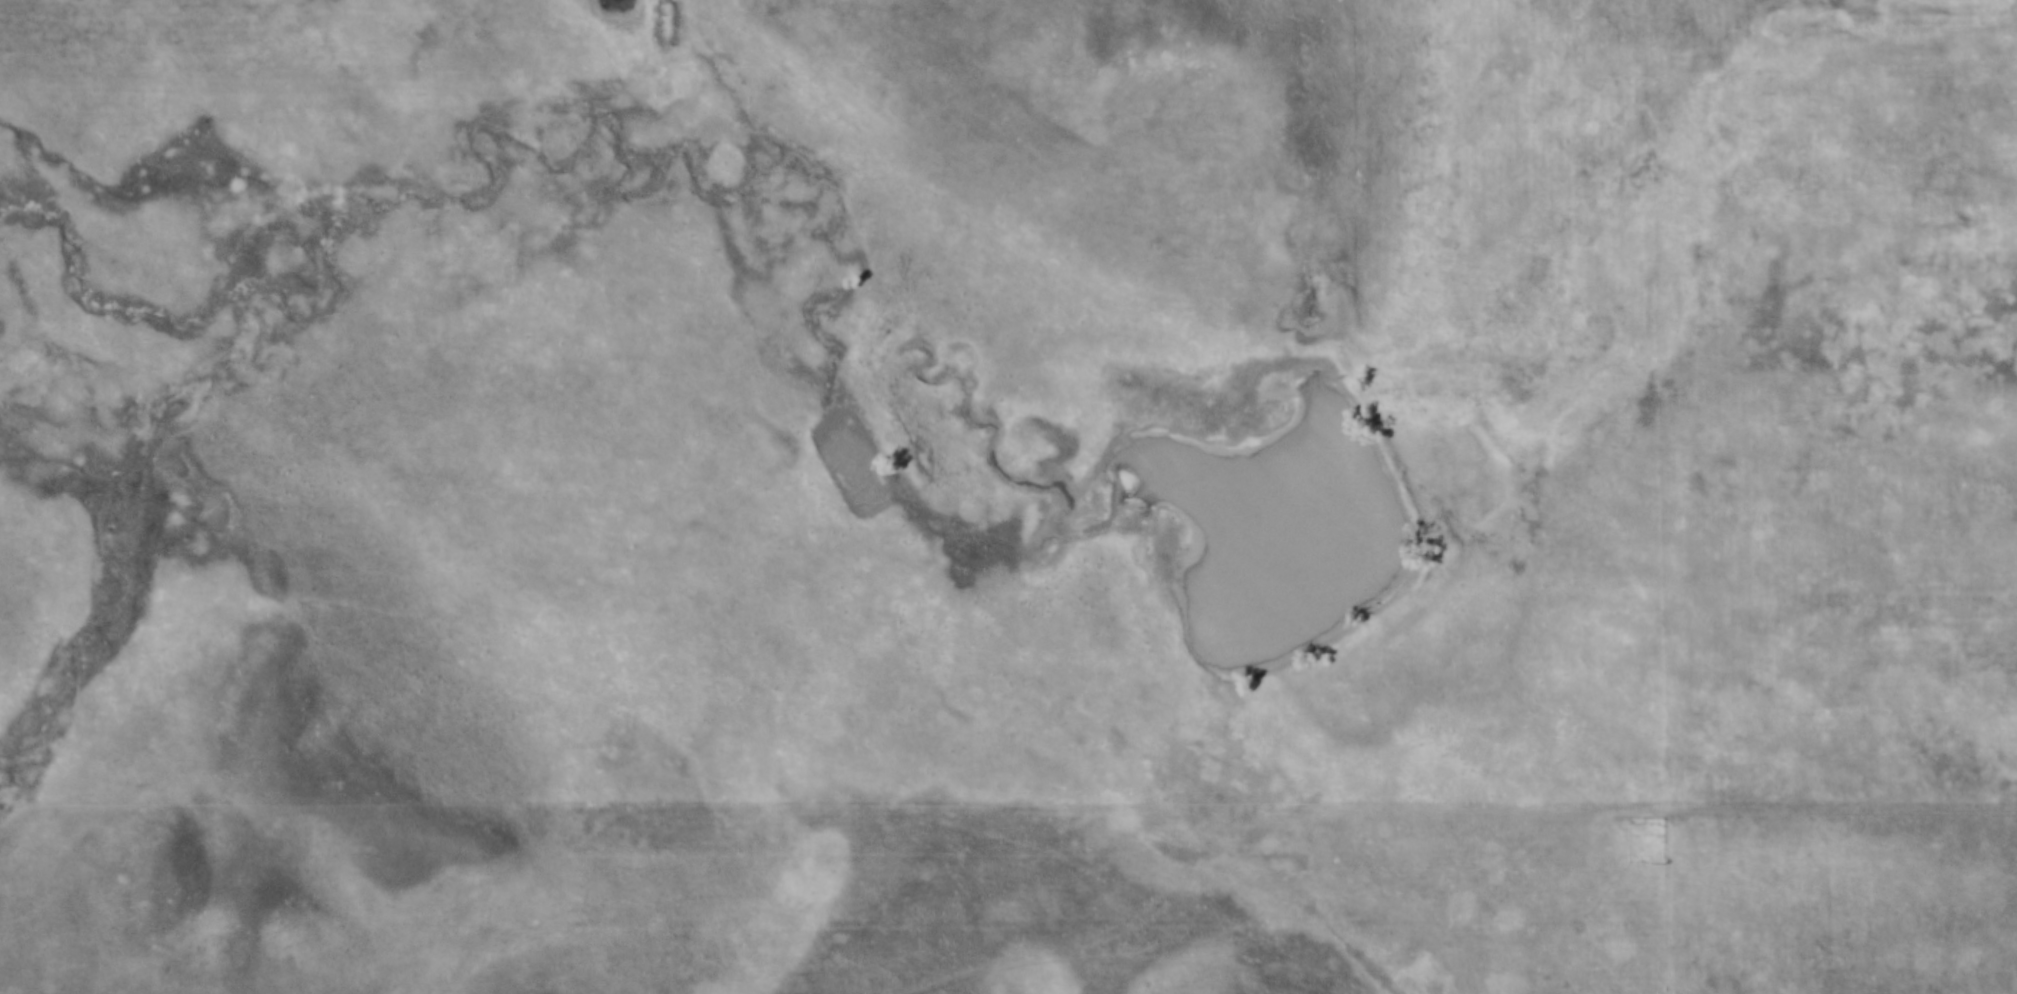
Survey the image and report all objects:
road: (1856, 807)

